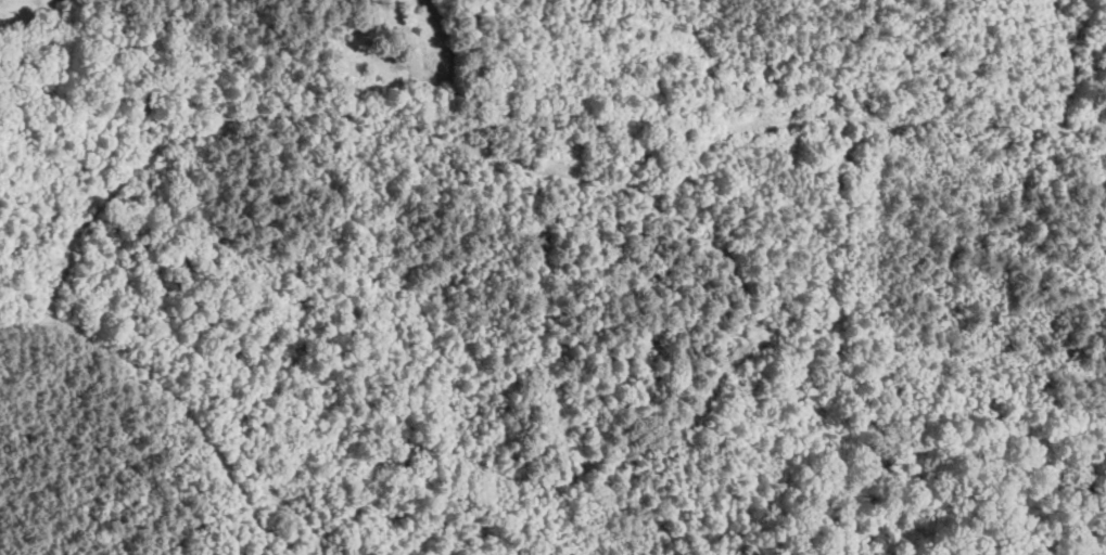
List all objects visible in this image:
road: (1104, 30)

